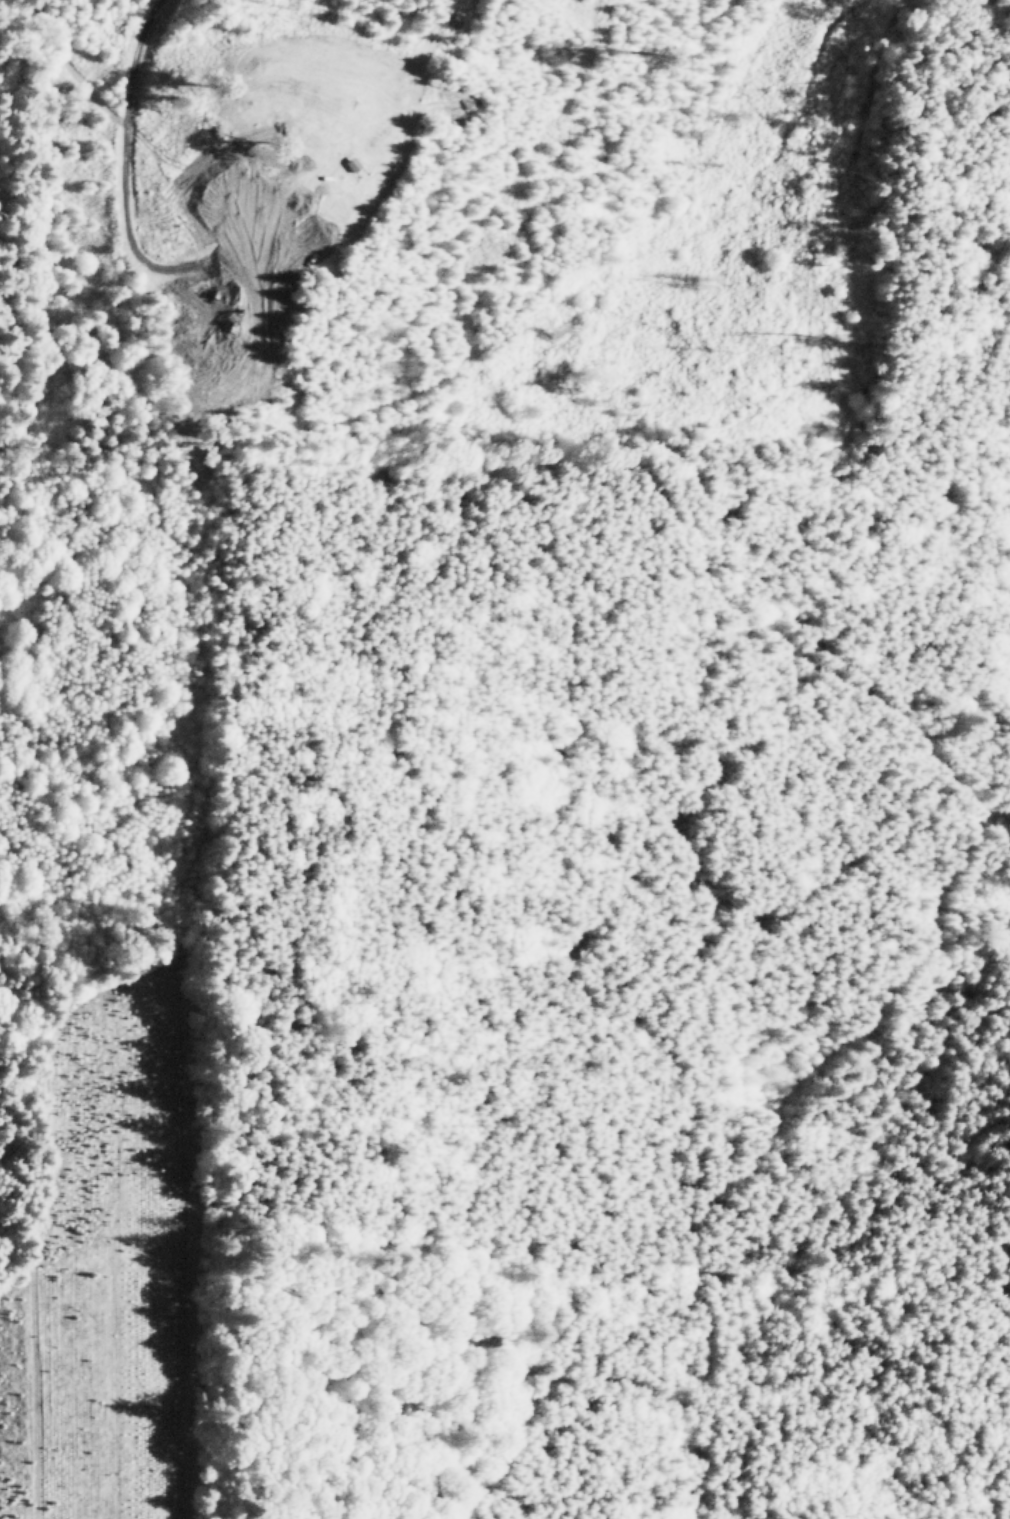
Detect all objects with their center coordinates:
road: (126, 196)

